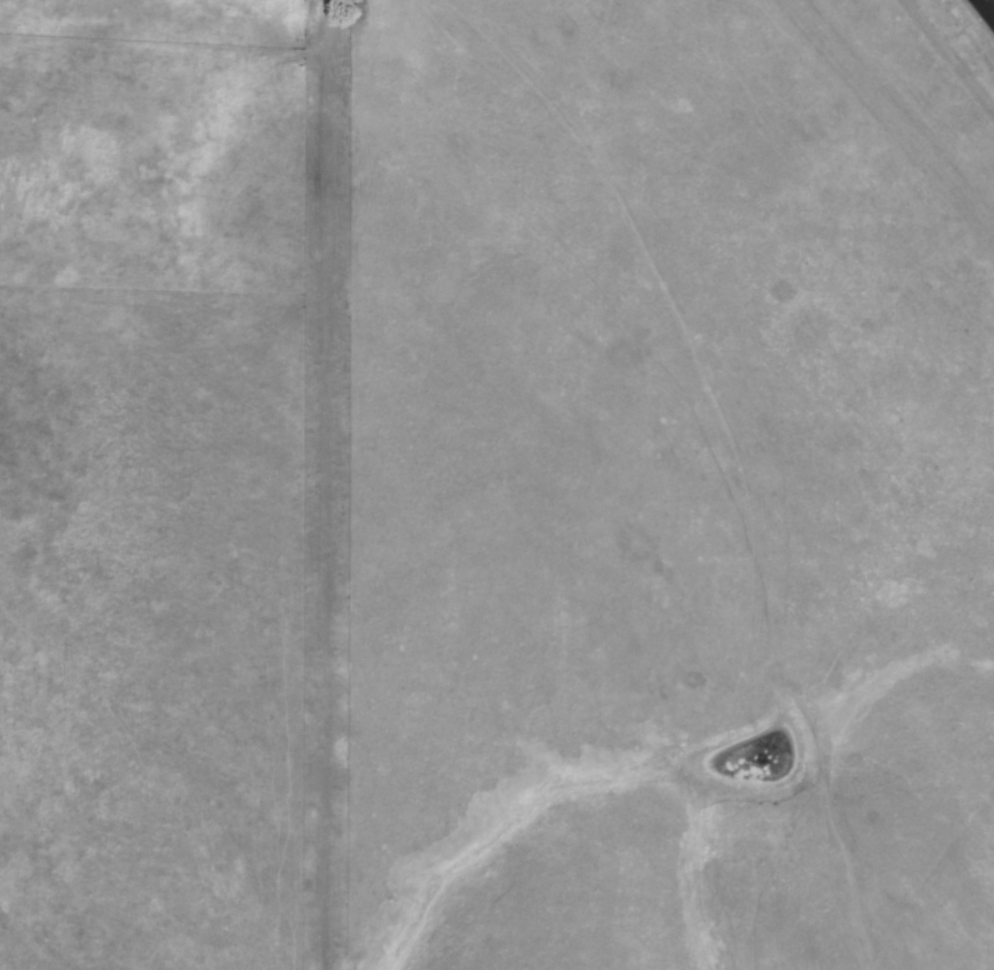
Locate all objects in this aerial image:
road: (987, 7)

